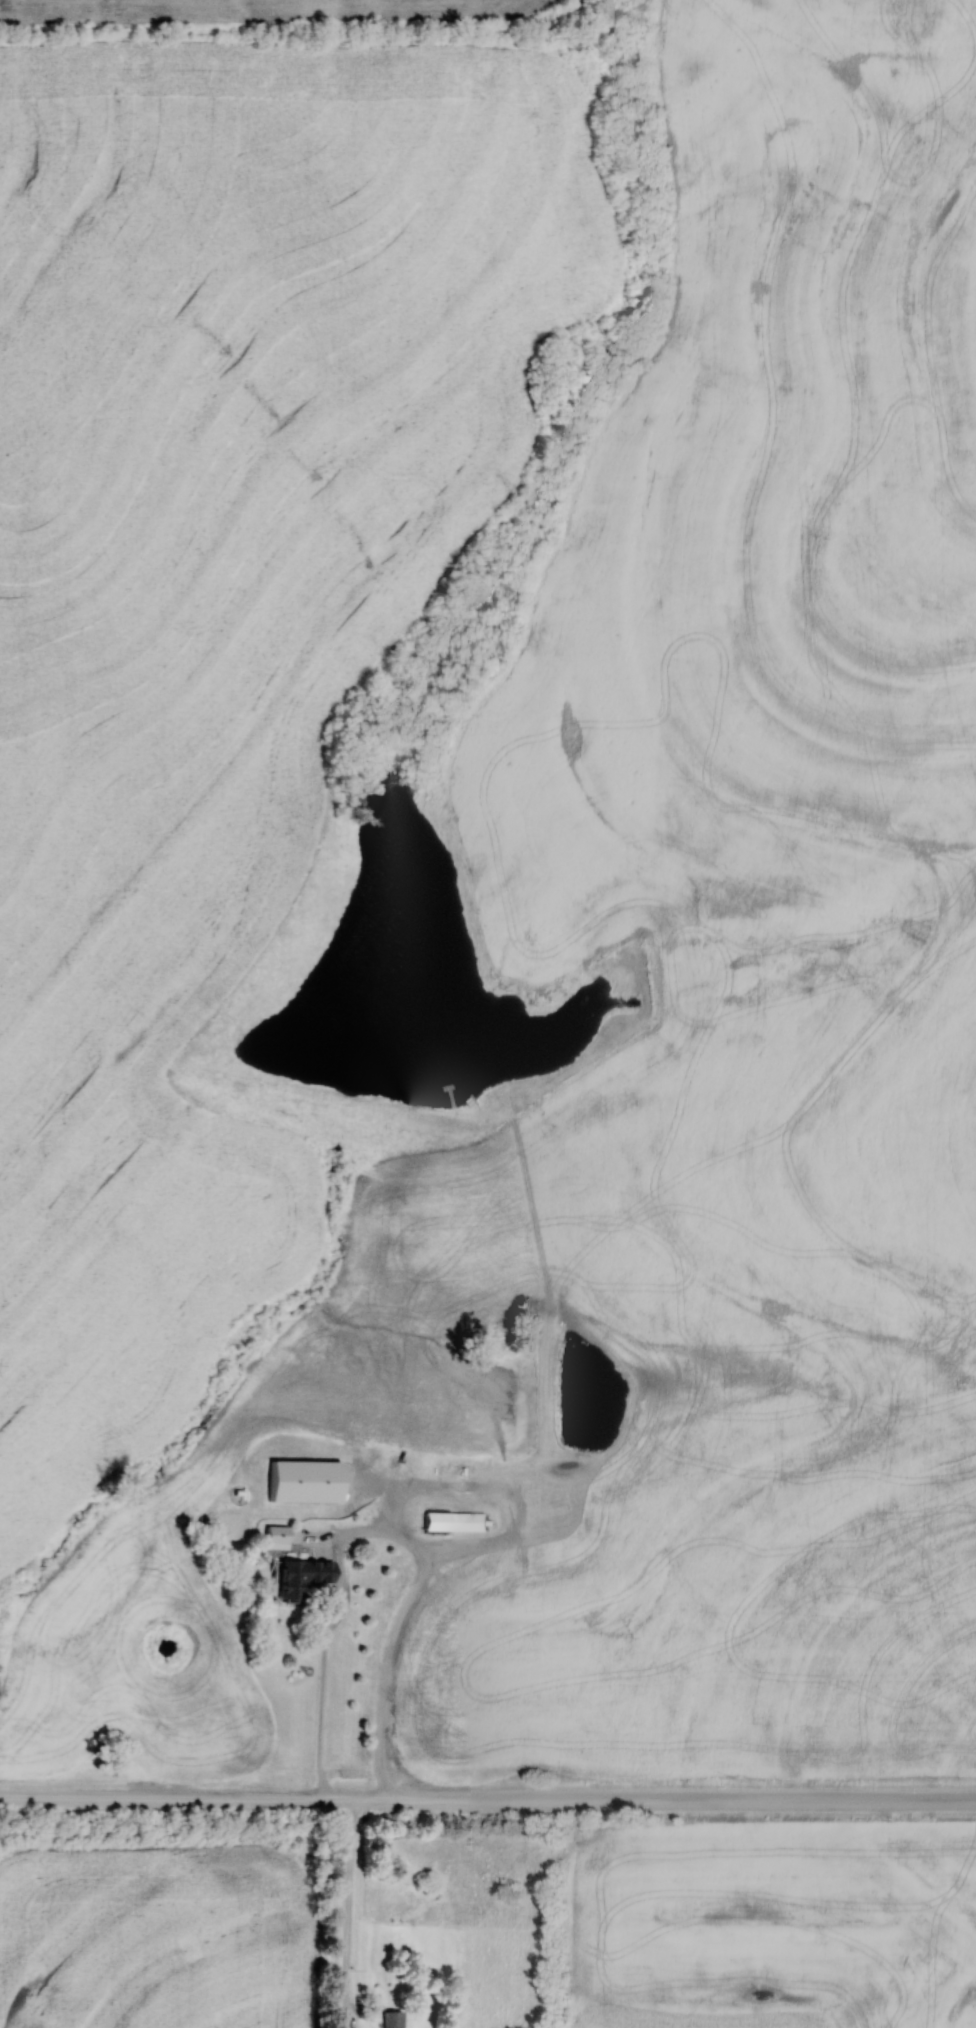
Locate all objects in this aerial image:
building: (309, 1481)
building: (457, 1522)
building: (306, 1576)
road: (488, 1798)
building: (394, 2018)

